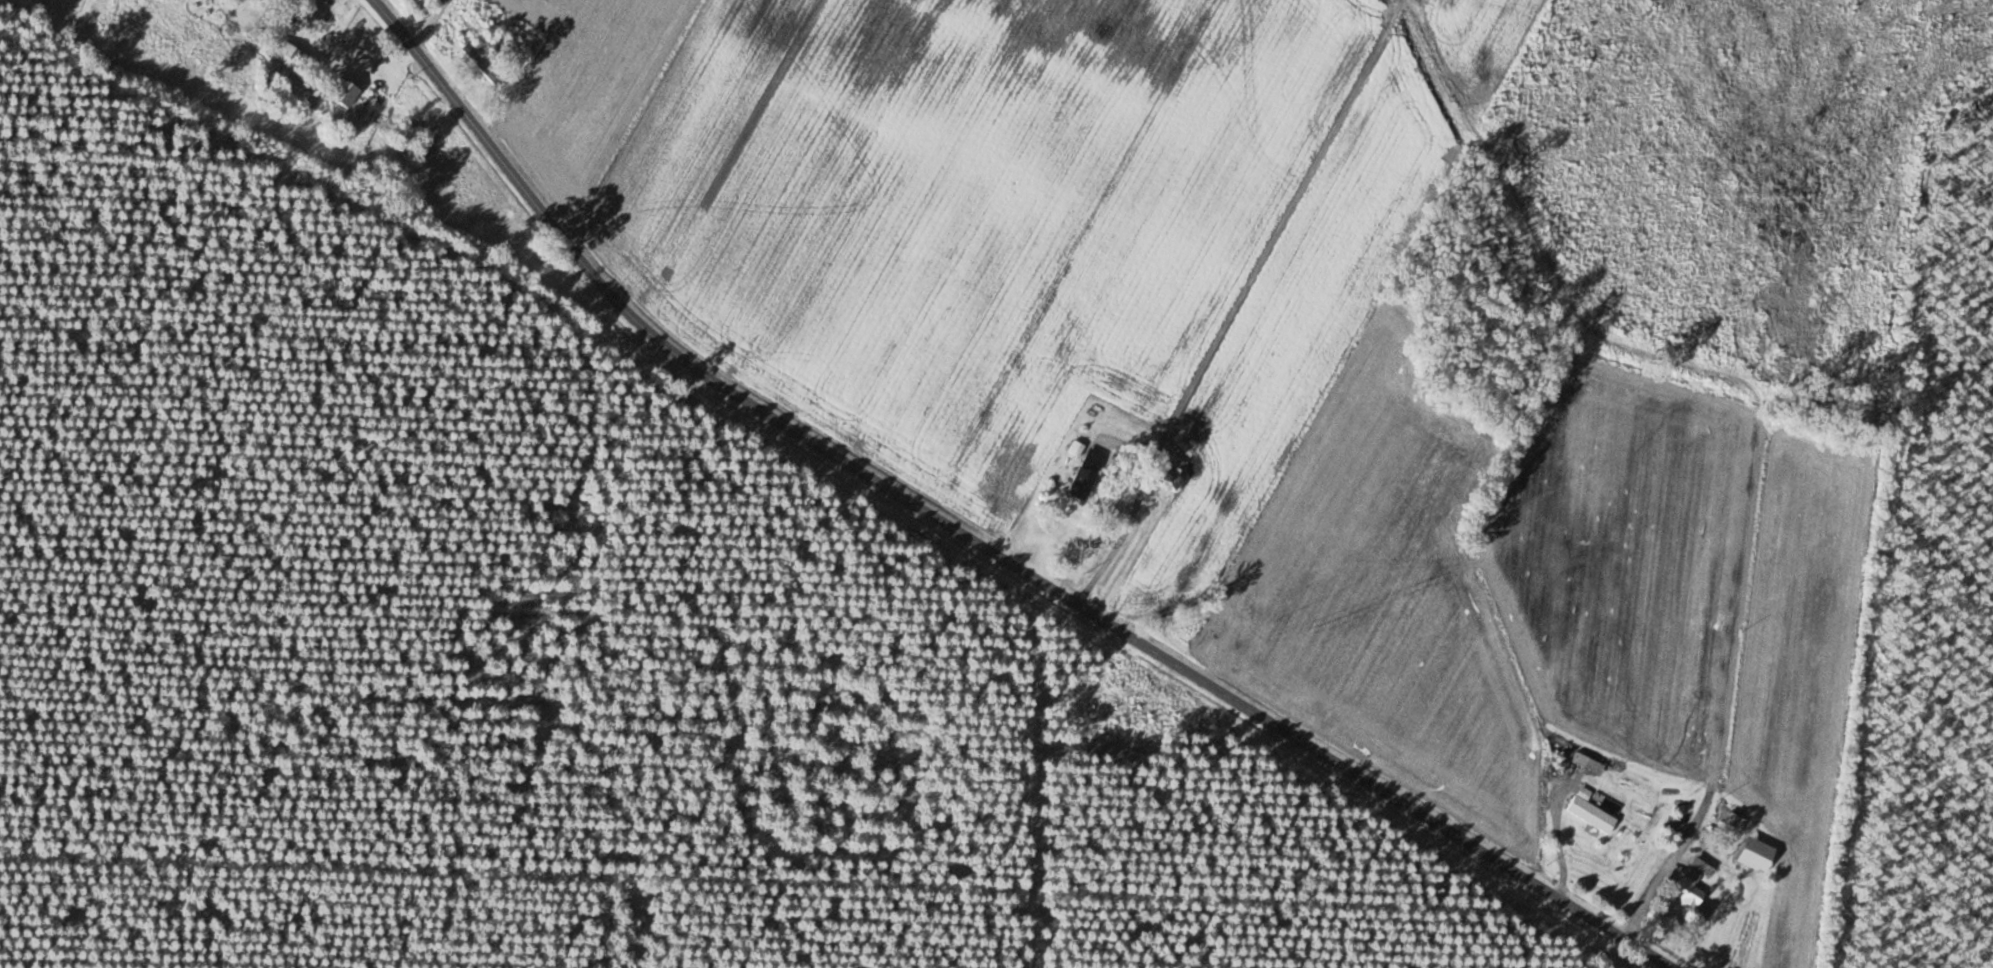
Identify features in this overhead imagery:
building: (420, 8)
road: (426, 23)
building: (471, 53)
building: (342, 93)
building: (405, 141)
building: (1076, 448)
building: (1169, 473)
building: (1083, 489)
road: (983, 540)
building: (1587, 763)
building: (1589, 811)
building: (1675, 824)
building: (1689, 888)

